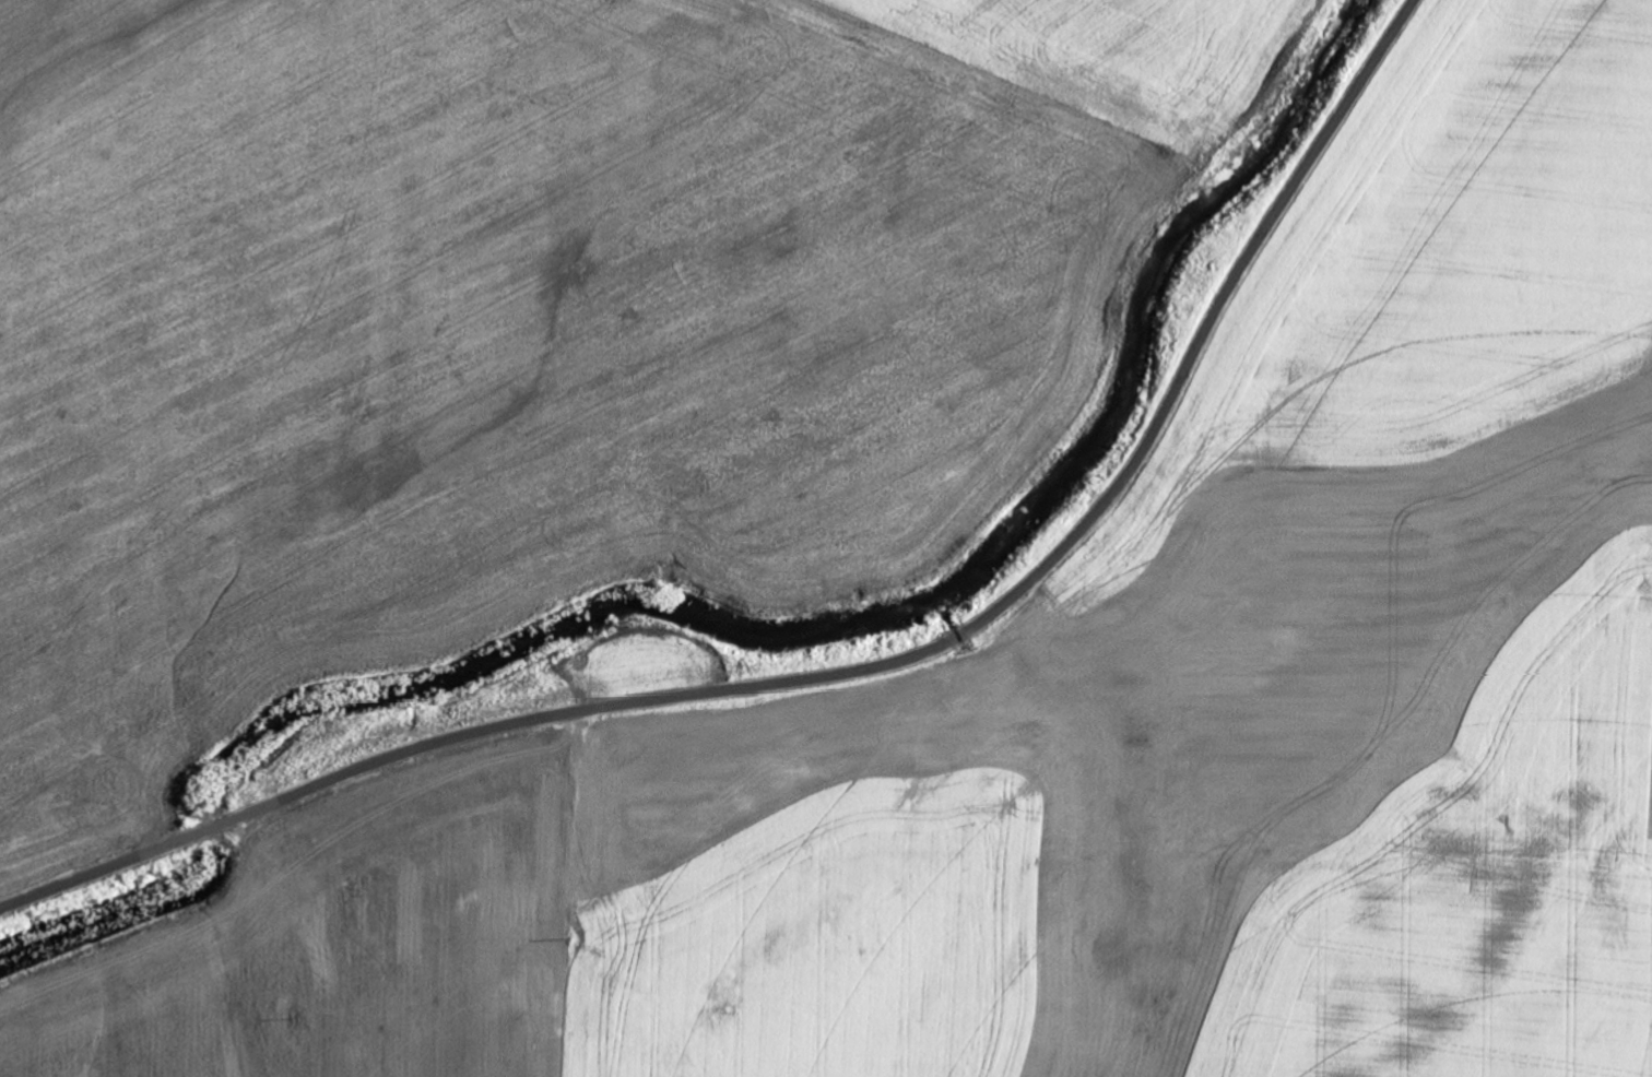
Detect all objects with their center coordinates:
road: (859, 670)
road: (585, 895)
road: (930, 904)

